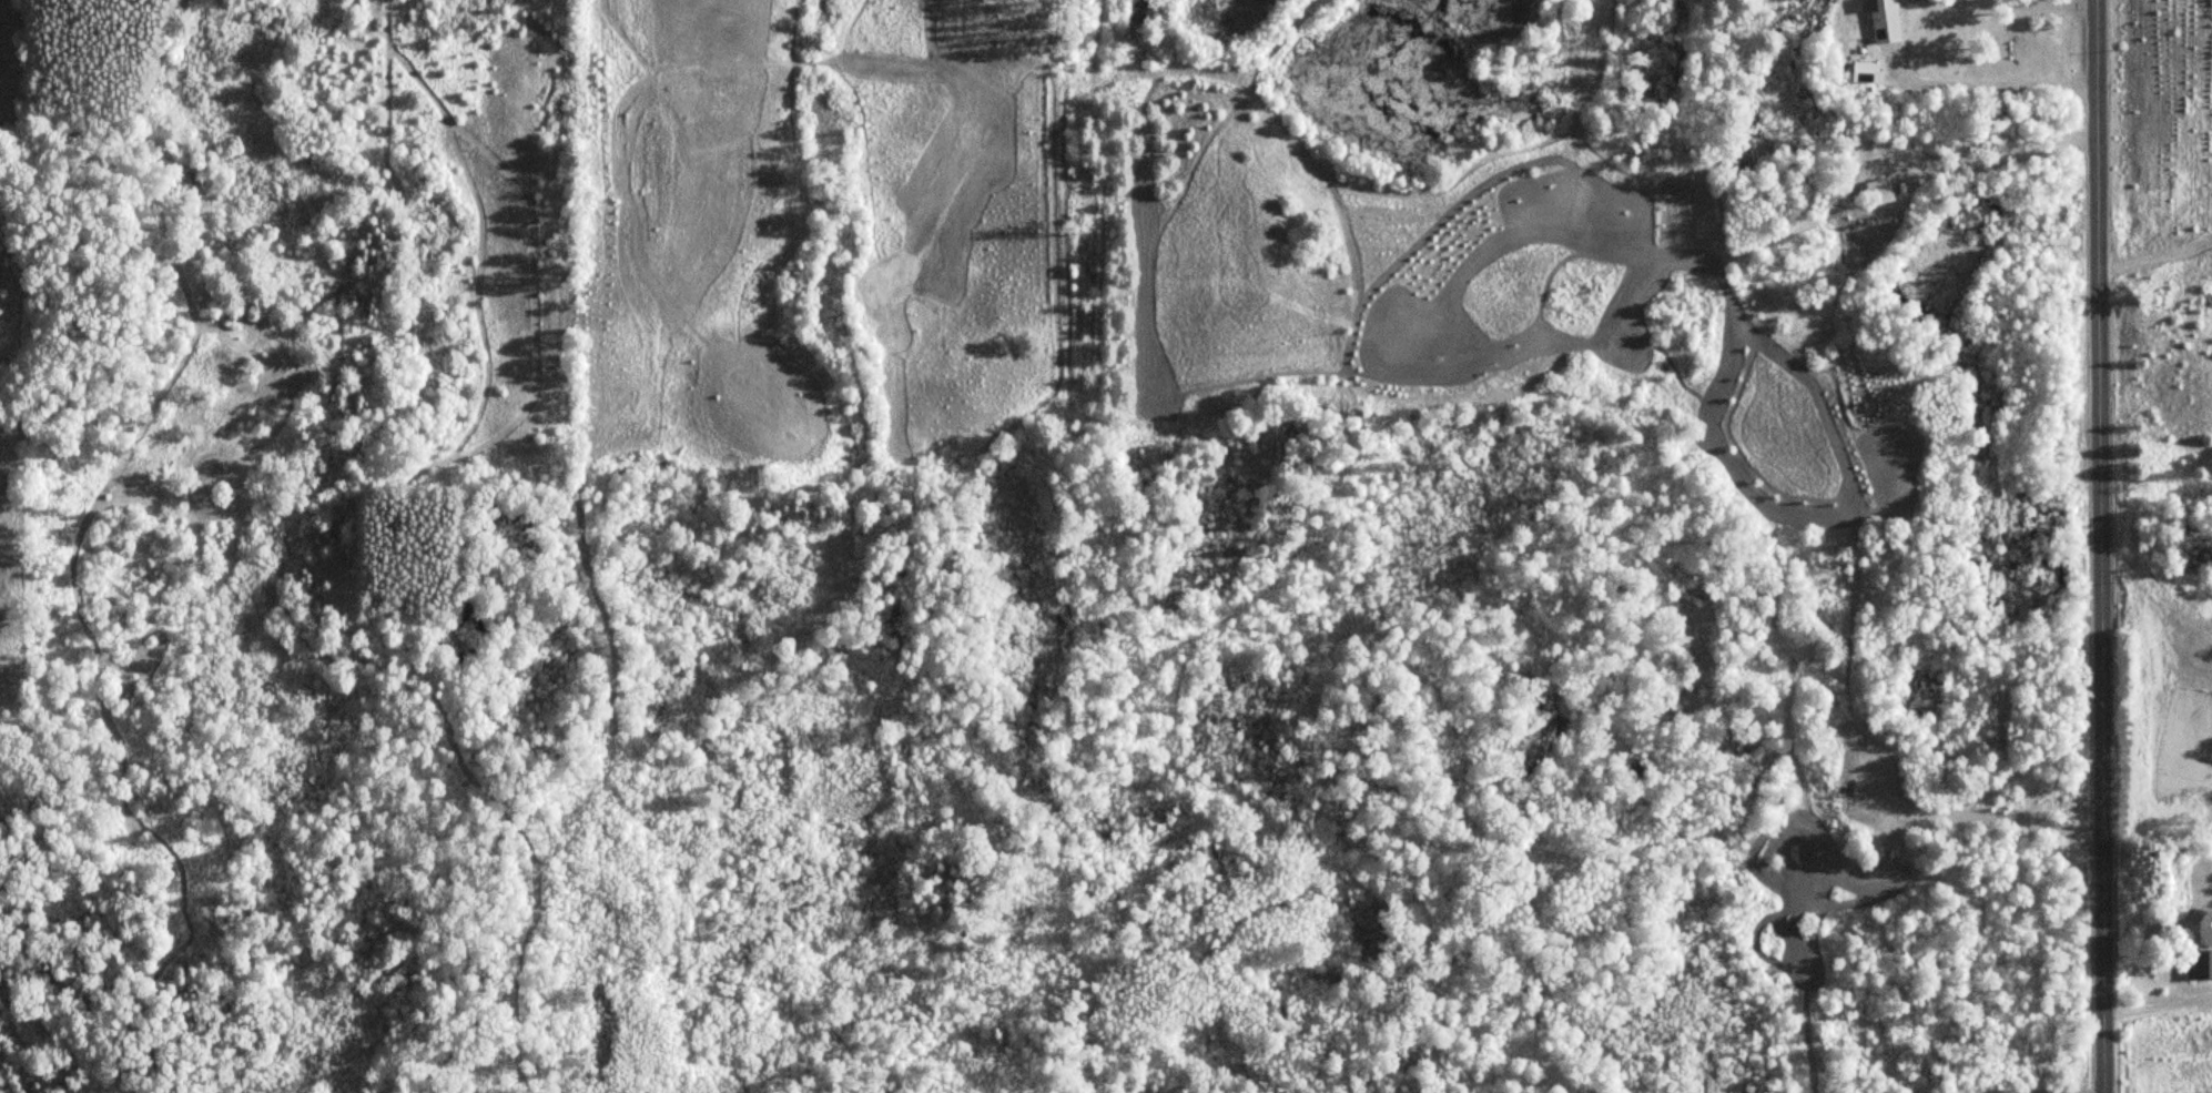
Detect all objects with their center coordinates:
building: (1885, 19)
building: (1867, 70)
building: (1881, 190)
road: (2099, 546)
building: (2200, 964)

